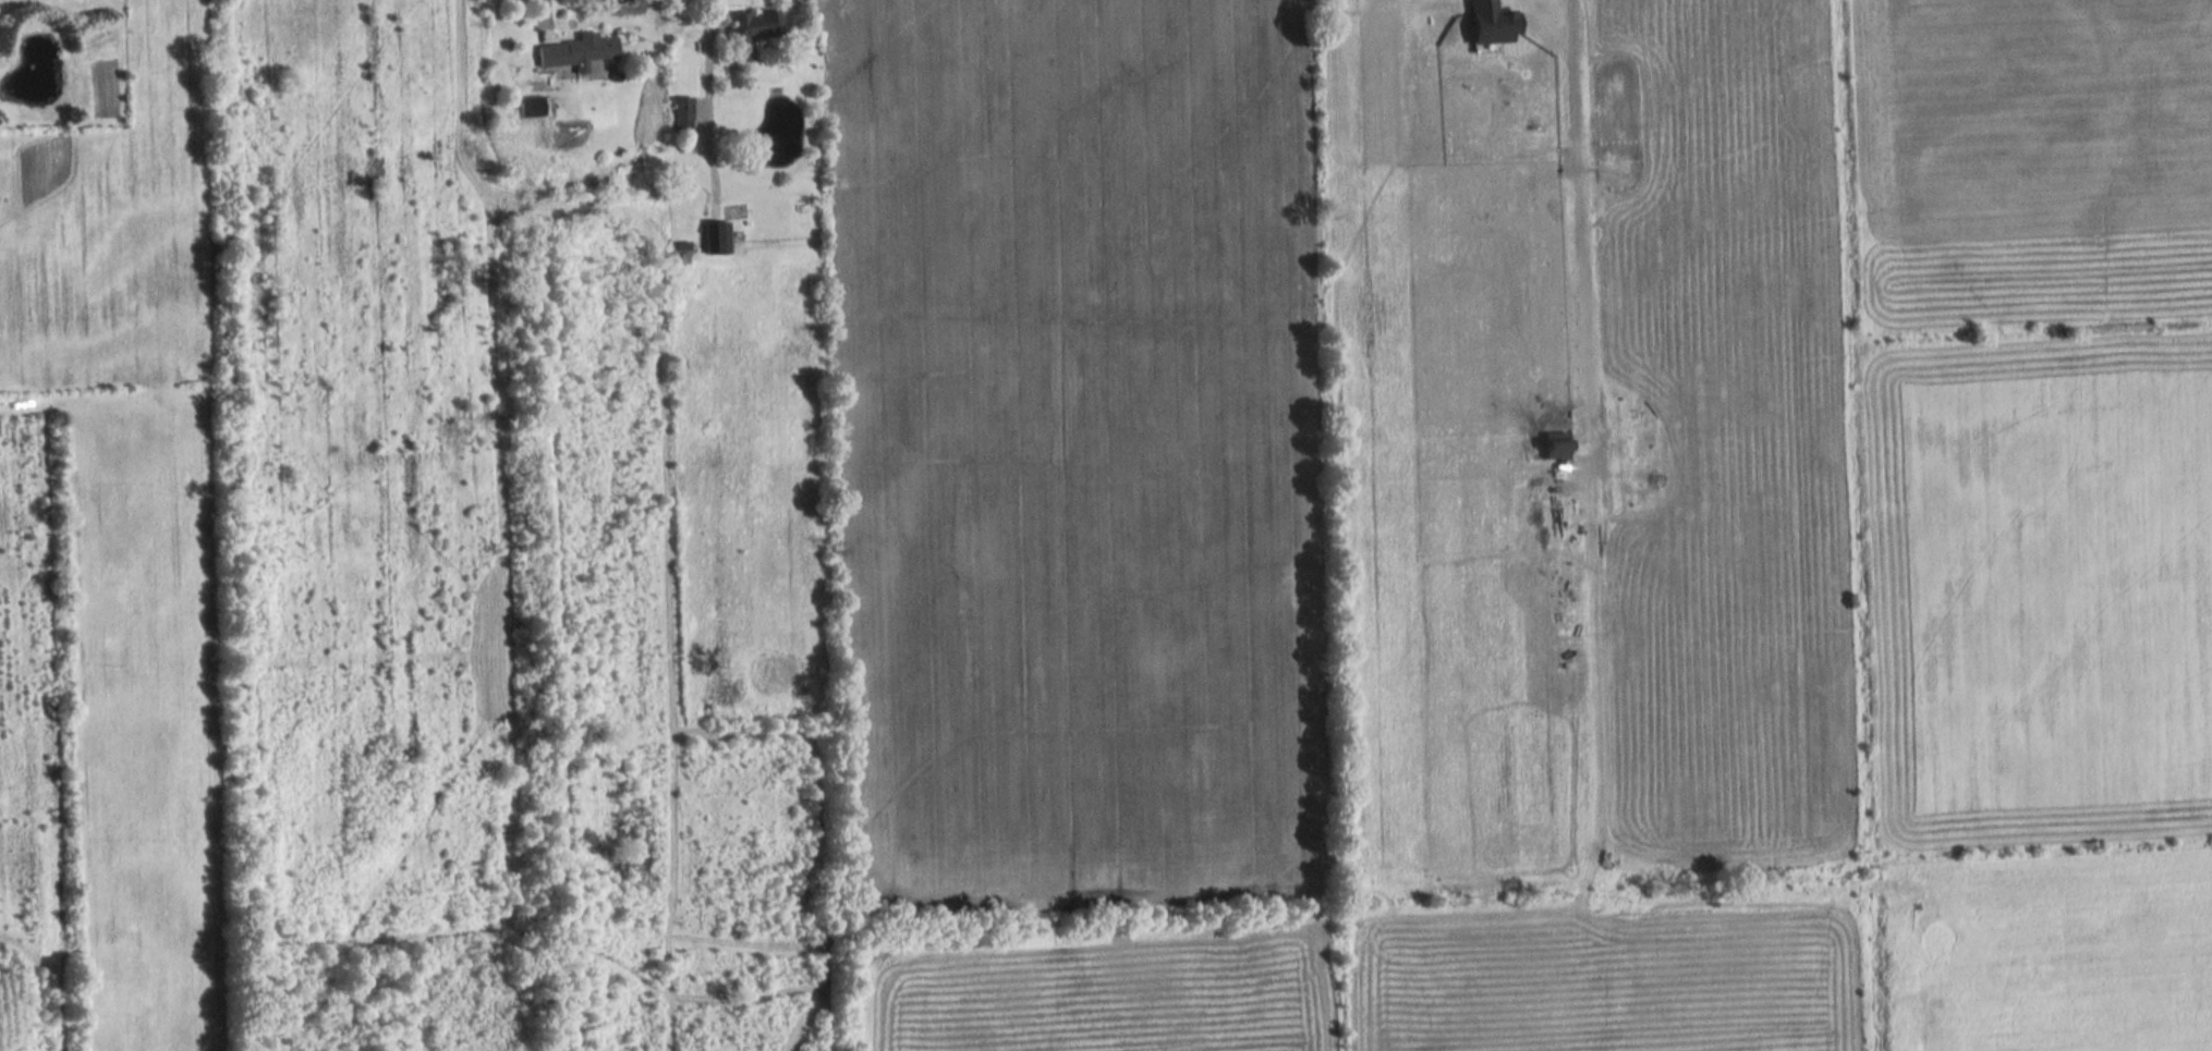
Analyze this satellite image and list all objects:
road: (543, 19)
building: (749, 33)
building: (574, 52)
road: (705, 106)
building: (527, 107)
building: (679, 114)
road: (1552, 229)
building: (715, 237)

